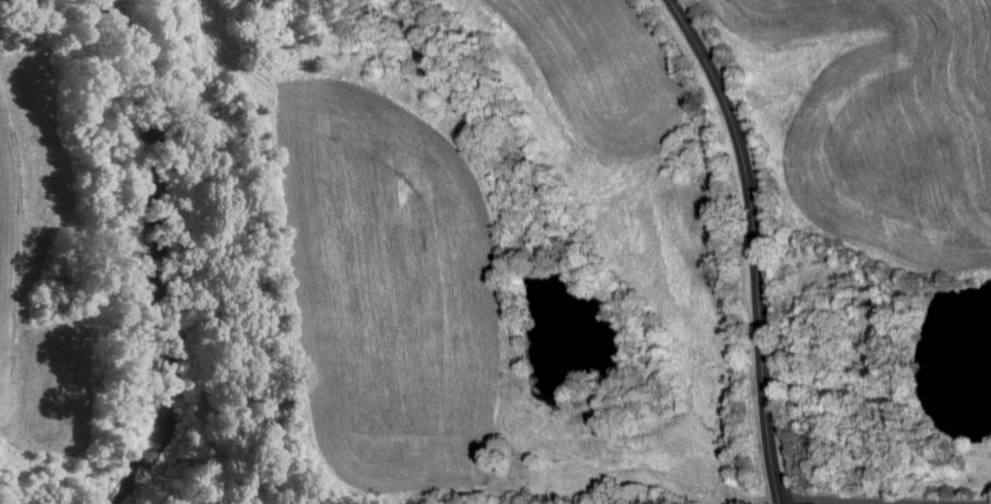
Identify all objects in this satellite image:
road: (868, 150)
road: (751, 242)
river: (169, 254)

